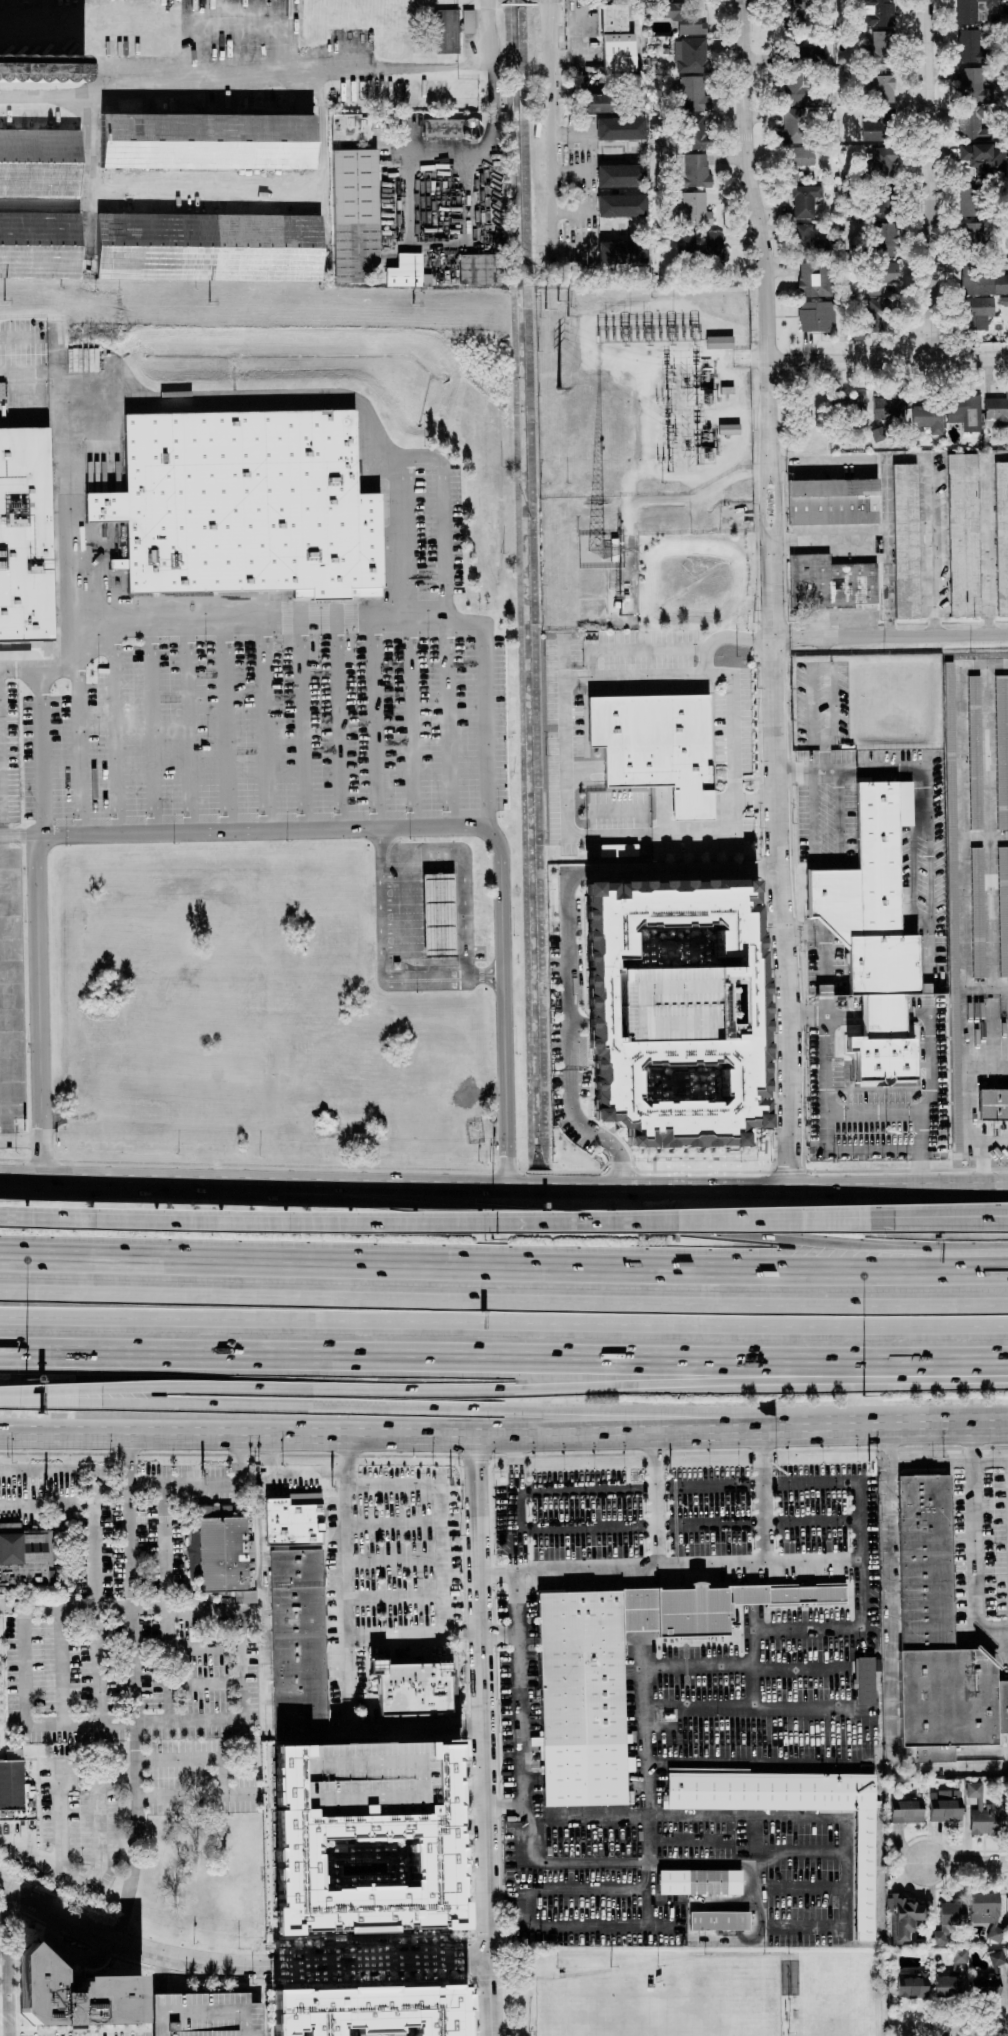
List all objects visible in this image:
building: (973, 10)
building: (796, 13)
building: (877, 14)
building: (684, 17)
building: (468, 21)
building: (446, 31)
road: (68, 38)
building: (616, 39)
building: (880, 43)
road: (488, 47)
building: (971, 47)
building: (805, 54)
building: (691, 55)
building: (42, 67)
road: (244, 81)
building: (974, 85)
building: (883, 88)
building: (799, 89)
building: (694, 94)
building: (600, 103)
building: (793, 125)
building: (879, 126)
building: (350, 127)
building: (450, 128)
building: (620, 128)
building: (697, 131)
road: (573, 133)
building: (206, 141)
road: (553, 143)
road: (409, 145)
building: (801, 155)
building: (981, 158)
building: (39, 162)
road: (443, 162)
building: (694, 170)
road: (573, 171)
building: (621, 175)
road: (930, 179)
building: (804, 201)
building: (968, 201)
road: (469, 205)
building: (621, 205)
building: (695, 206)
building: (354, 215)
building: (972, 233)
building: (885, 237)
building: (685, 242)
building: (809, 242)
building: (713, 243)
building: (39, 244)
building: (208, 247)
building: (621, 252)
building: (481, 268)
building: (407, 271)
building: (882, 276)
building: (814, 279)
building: (985, 284)
power tower: (4, 301)
power tower: (210, 302)
power tower: (413, 305)
power tower: (554, 305)
building: (879, 312)
building: (978, 312)
building: (816, 316)
building: (719, 342)
road: (889, 359)
road: (46, 371)
power substation: (642, 388)
power tower: (559, 390)
road: (222, 401)
building: (888, 406)
building: (997, 410)
building: (964, 412)
building: (728, 429)
road: (667, 450)
road: (997, 457)
road: (820, 464)
building: (242, 500)
building: (831, 502)
road: (706, 512)
road: (442, 516)
road: (887, 527)
building: (25, 535)
building: (963, 535)
building: (1001, 536)
road: (832, 539)
building: (905, 540)
road: (989, 546)
road: (935, 547)
building: (831, 583)
road: (775, 592)
road: (234, 620)
road: (891, 636)
road: (832, 667)
road: (18, 672)
road: (733, 709)
road: (412, 722)
road: (448, 722)
road: (265, 723)
parking lot: (268, 723)
road: (303, 723)
road: (339, 723)
road: (376, 723)
road: (153, 724)
road: (188, 724)
road: (226, 724)
road: (117, 725)
building: (657, 746)
building: (1001, 749)
road: (81, 751)
building: (974, 752)
road: (564, 757)
road: (926, 799)
road: (956, 823)
building: (950, 826)
road: (246, 827)
building: (617, 850)
road: (421, 853)
road: (829, 865)
road: (577, 871)
road: (914, 874)
road: (502, 902)
building: (1003, 909)
building: (977, 912)
road: (465, 914)
building: (445, 916)
road: (35, 925)
road: (805, 932)
building: (873, 933)
road: (826, 941)
road: (380, 962)
building: (676, 1010)
road: (809, 1016)
road: (983, 1036)
road: (931, 1049)
building: (955, 1087)
building: (992, 1103)
road: (875, 1108)
road: (961, 1114)
road: (591, 1131)
road: (827, 1141)
road: (987, 1165)
road: (103, 1180)
road: (607, 1186)
road: (949, 1217)
road: (943, 1219)
road: (439, 1222)
road: (606, 1222)
road: (503, 1265)
road: (503, 1300)
road: (503, 1321)
road: (499, 1356)
road: (1003, 1363)
road: (549, 1386)
road: (50, 1391)
road: (49, 1399)
road: (495, 1407)
road: (949, 1423)
road: (22, 1430)
road: (22, 1433)
road: (468, 1435)
road: (991, 1461)
road: (416, 1468)
road: (47, 1471)
road: (529, 1490)
road: (177, 1494)
road: (761, 1498)
helipad: (99, 1499)
road: (658, 1501)
road: (47, 1506)
building: (307, 1517)
road: (689, 1523)
road: (974, 1551)
building: (230, 1556)
building: (30, 1561)
road: (672, 1568)
parking lot: (394, 1584)
road: (95, 1598)
road: (120, 1605)
road: (395, 1608)
road: (863, 1608)
parking lot: (136, 1609)
road: (430, 1609)
road: (1004, 1630)
building: (936, 1634)
building: (297, 1643)
road: (204, 1647)
road: (891, 1651)
road: (351, 1654)
road: (26, 1664)
road: (711, 1664)
road: (167, 1665)
road: (61, 1666)
road: (241, 1666)
building: (615, 1671)
building: (866, 1680)
road: (204, 1683)
building: (411, 1688)
road: (134, 1689)
road: (267, 1700)
road: (134, 1725)
road: (484, 1736)
building: (13, 1754)
road: (756, 1761)
road: (96, 1775)
road: (222, 1777)
building: (25, 1791)
road: (645, 1794)
road: (238, 1795)
building: (945, 1805)
building: (906, 1811)
building: (983, 1812)
road: (665, 1819)
building: (1007, 1823)
road: (56, 1826)
parking lot: (82, 1830)
road: (100, 1833)
building: (367, 1841)
road: (967, 1862)
road: (567, 1863)
road: (38, 1864)
building: (363, 1868)
building: (863, 1875)
building: (700, 1884)
road: (846, 1910)
building: (986, 1912)
building: (951, 1913)
building: (904, 1915)
building: (719, 1920)
road: (529, 1921)
building: (940, 1935)
road: (72, 1951)
building: (959, 1956)
building: (997, 1958)
road: (9, 1962)
road: (235, 1965)
road: (161, 1974)
building: (912, 1984)
building: (946, 1986)
building: (986, 1986)
building: (75, 1992)
park: (719, 1997)
building: (370, 2003)
park: (589, 2006)
building: (204, 2014)
road: (949, 2030)

